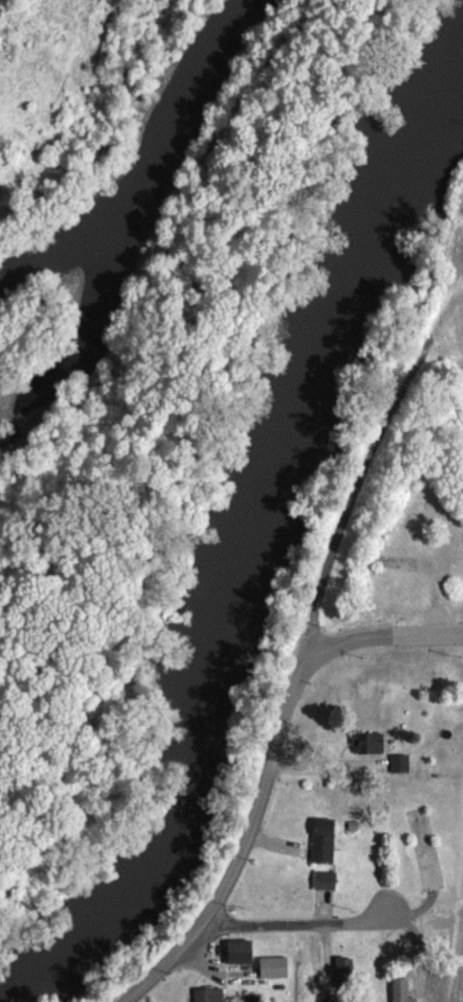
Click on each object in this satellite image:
power tower: (5, 146)
road: (350, 497)
river: (248, 543)
road: (386, 644)
building: (370, 751)
building: (401, 771)
road: (250, 846)
building: (326, 888)
road: (302, 931)
building: (241, 960)
building: (274, 975)
building: (345, 980)
building: (403, 994)
building: (210, 999)

